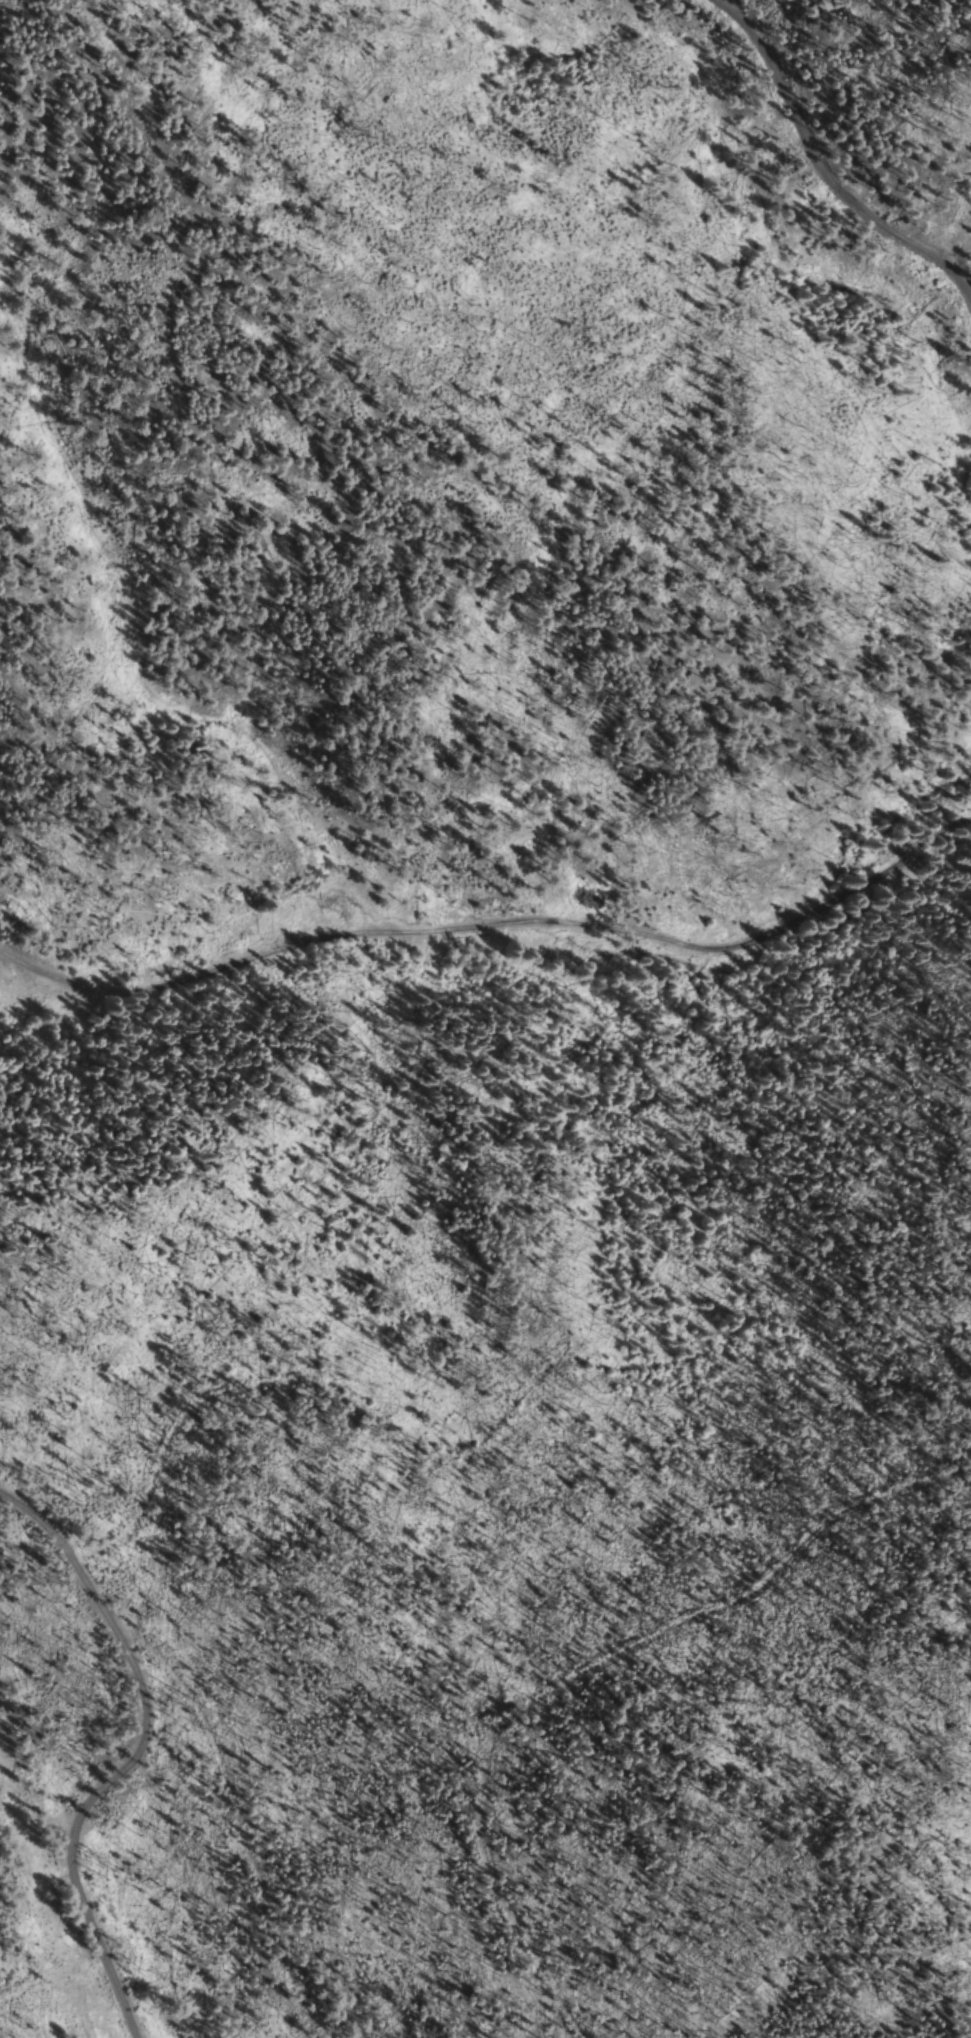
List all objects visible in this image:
road: (820, 170)
road: (493, 924)
road: (124, 1754)

